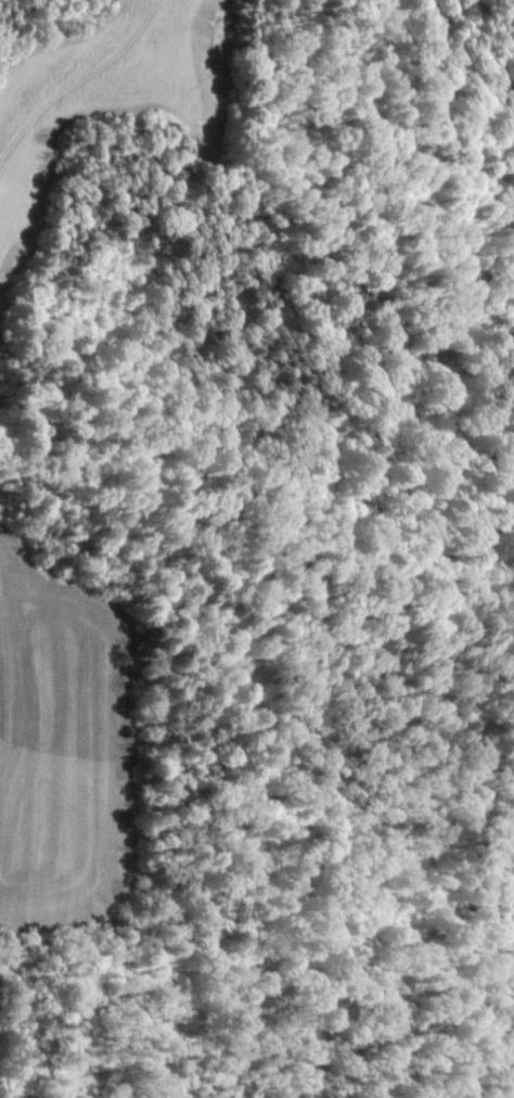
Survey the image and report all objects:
road: (458, 1045)

